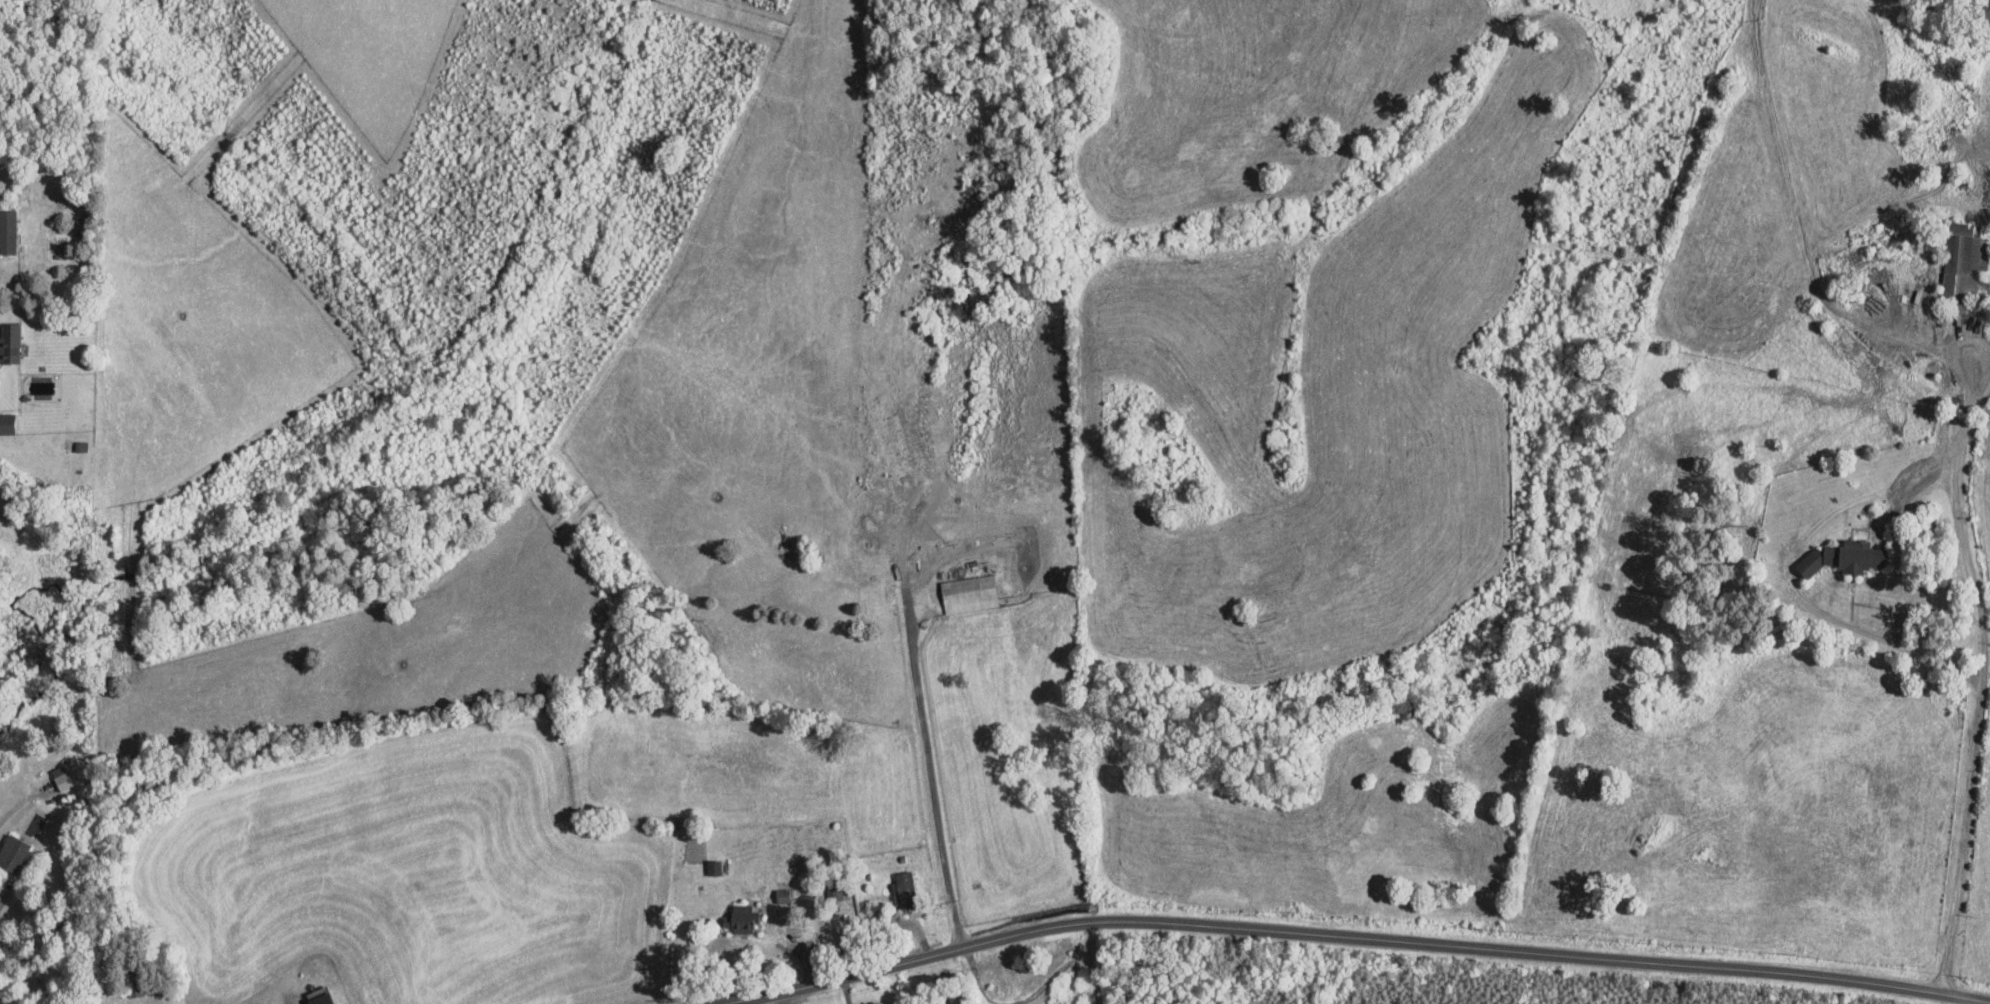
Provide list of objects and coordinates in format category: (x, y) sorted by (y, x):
building: (7, 231)
building: (1964, 259)
building: (9, 342)
road: (1969, 411)
building: (7, 423)
building: (1843, 557)
building: (968, 593)
road: (1881, 637)
road: (1983, 693)
road: (932, 776)
building: (63, 777)
building: (12, 853)
building: (713, 867)
building: (905, 888)
road: (7, 891)
building: (835, 892)
building: (782, 894)
building: (740, 917)
road: (1348, 935)
building: (319, 998)

